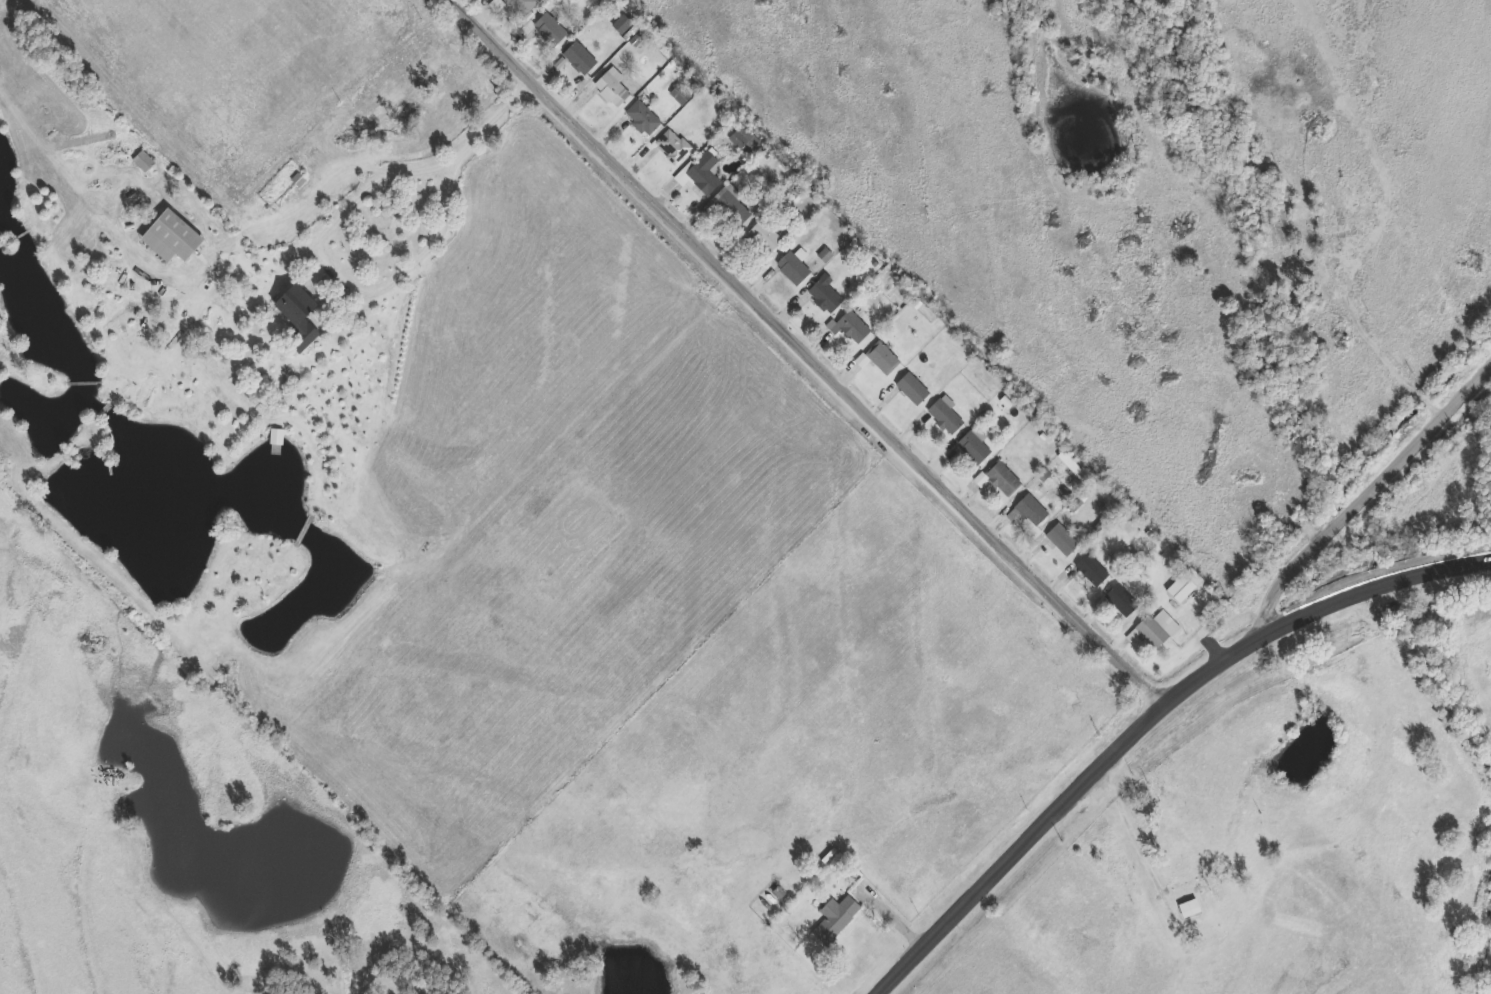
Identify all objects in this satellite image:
building: (497, 6)
building: (523, 6)
building: (621, 26)
building: (549, 30)
building: (579, 58)
building: (611, 88)
building: (681, 95)
building: (643, 120)
building: (742, 138)
building: (672, 147)
building: (143, 163)
building: (701, 176)
building: (731, 206)
road: (330, 233)
building: (765, 237)
building: (168, 238)
building: (824, 256)
building: (794, 267)
building: (824, 295)
building: (294, 315)
building: (849, 328)
road: (809, 353)
building: (879, 360)
building: (911, 389)
building: (945, 416)
building: (974, 446)
building: (1071, 467)
building: (1003, 480)
building: (980, 481)
road: (1368, 497)
building: (1076, 508)
building: (1030, 511)
building: (1060, 540)
building: (1091, 571)
building: (1184, 587)
building: (1122, 601)
building: (1157, 630)
road: (1150, 720)
building: (1187, 910)
building: (834, 920)

